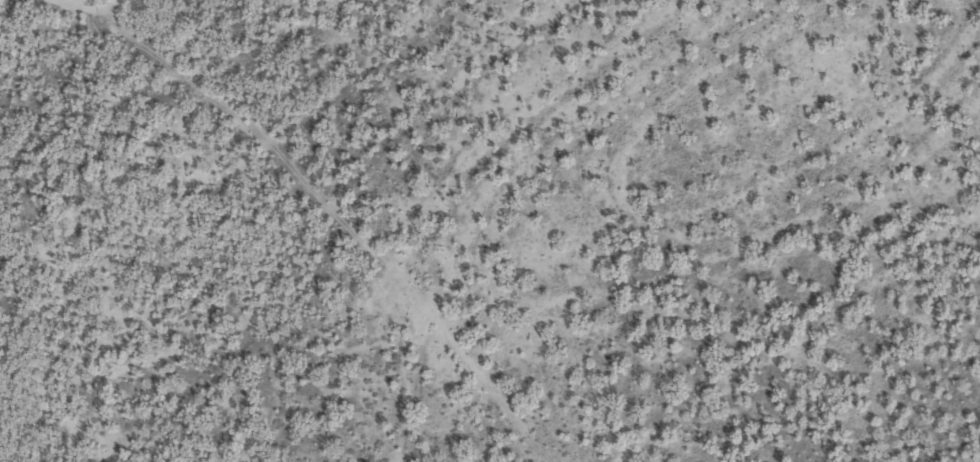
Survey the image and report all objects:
road: (35, 346)
road: (477, 396)
road: (50, 459)

